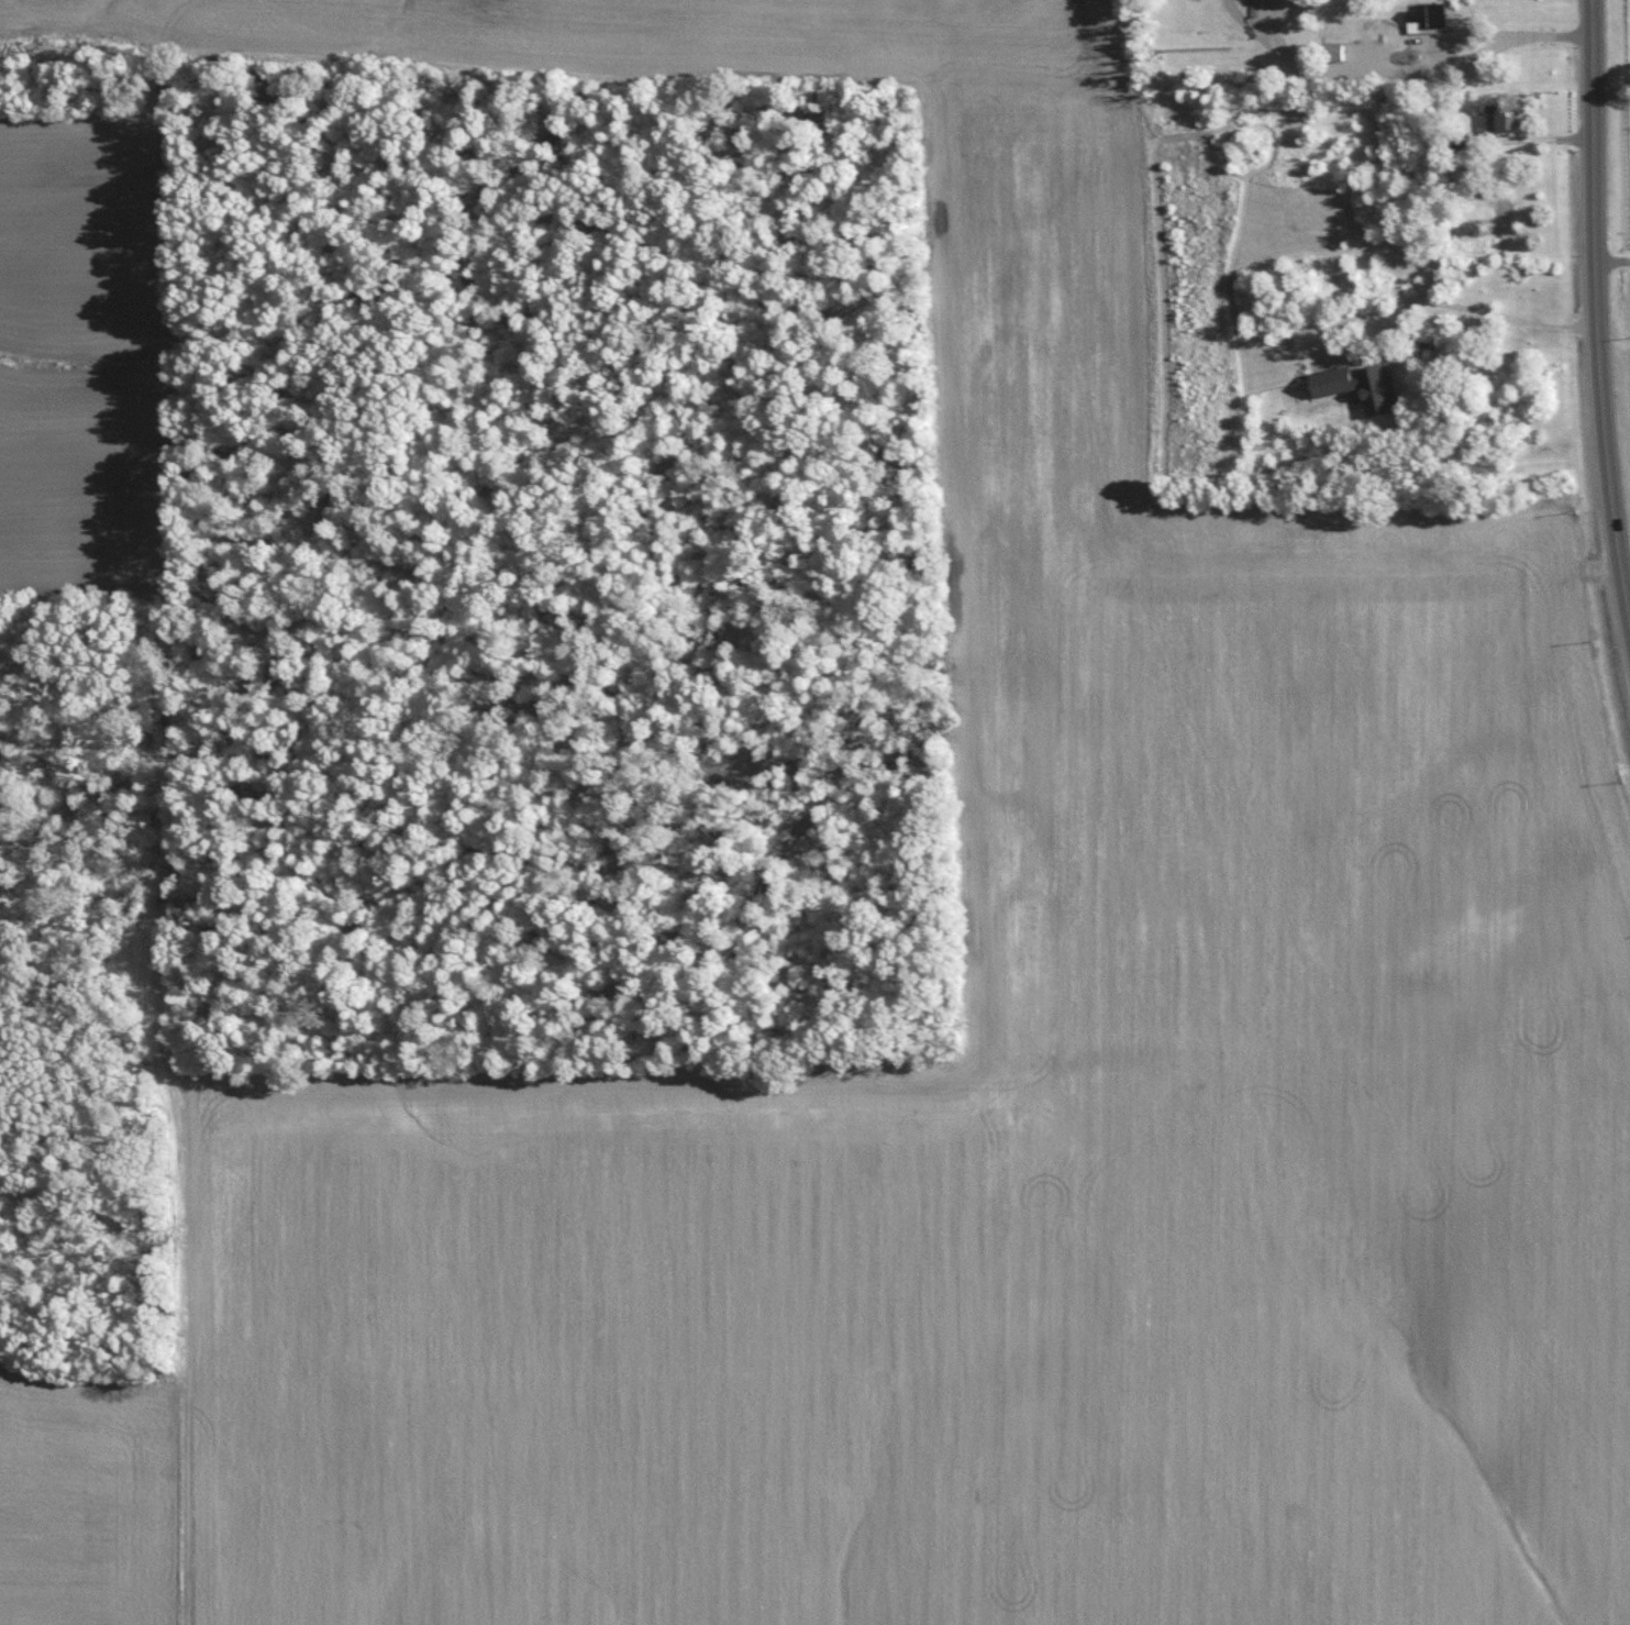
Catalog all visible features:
building: (1428, 16)
building: (1332, 49)
road: (1474, 55)
building: (1493, 118)
road: (1614, 261)
road: (1598, 302)
road: (1452, 305)
building: (1365, 386)

